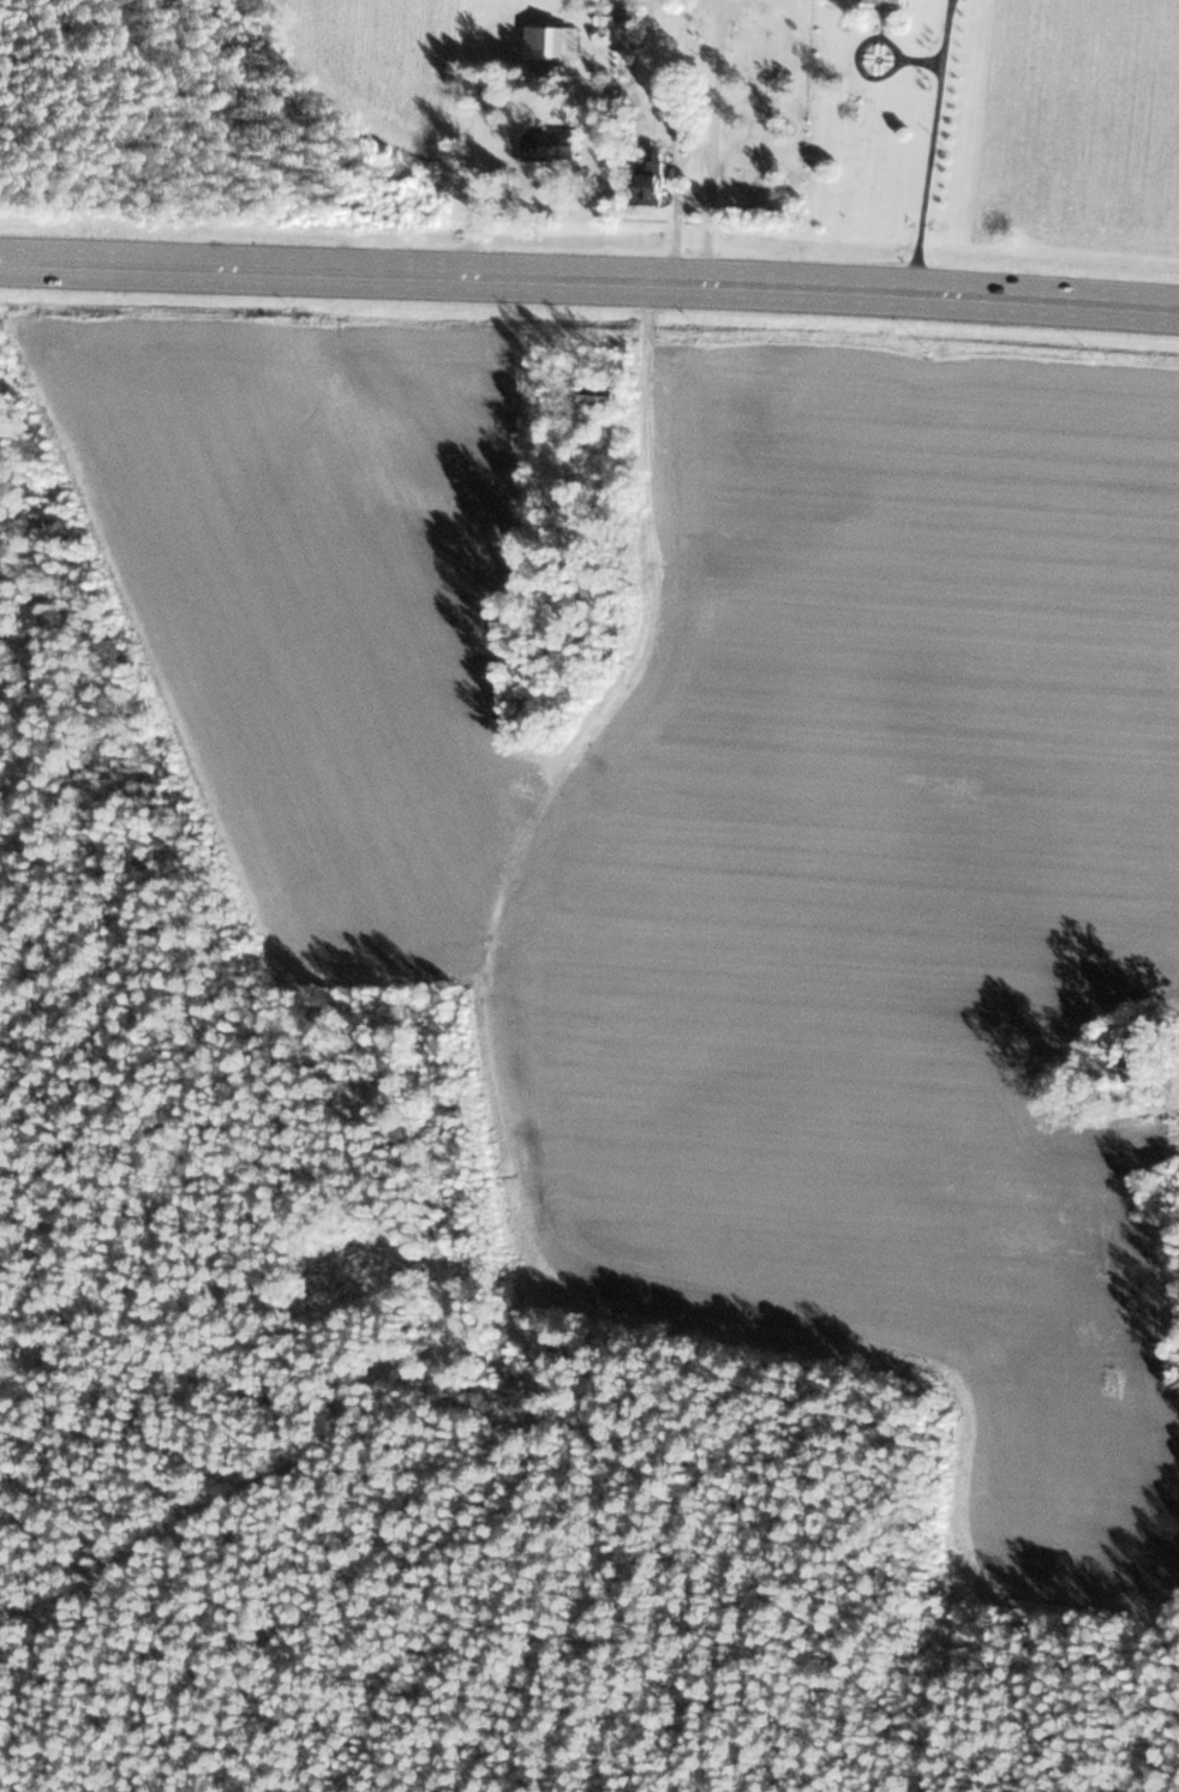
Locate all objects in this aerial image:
building: (884, 0)
building: (605, 14)
building: (550, 41)
building: (546, 145)
road: (713, 145)
road: (933, 146)
building: (647, 180)
road: (589, 278)
building: (594, 392)

